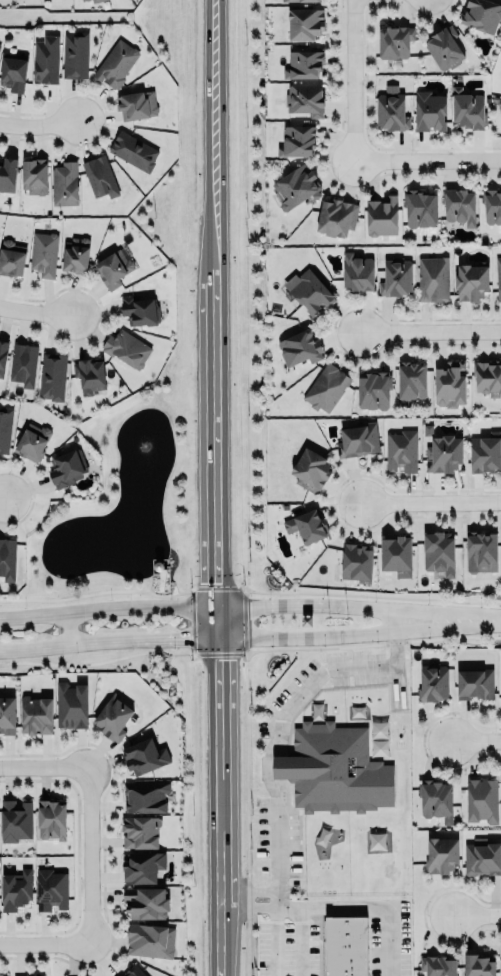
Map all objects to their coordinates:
building: (84, 0)
building: (94, 0)
building: (294, 0)
building: (482, 13)
building: (304, 23)
building: (394, 40)
building: (0, 44)
building: (444, 48)
building: (75, 54)
building: (45, 59)
building: (115, 63)
building: (303, 63)
building: (13, 71)
road: (350, 81)
building: (305, 99)
building: (135, 104)
building: (499, 104)
building: (467, 108)
building: (391, 110)
building: (429, 110)
road: (35, 126)
building: (297, 139)
building: (133, 150)
road: (426, 160)
building: (7, 174)
building: (34, 175)
building: (99, 176)
building: (64, 183)
building: (296, 186)
building: (459, 206)
building: (419, 207)
building: (492, 207)
building: (381, 215)
building: (336, 216)
building: (43, 254)
building: (75, 254)
building: (11, 258)
building: (113, 267)
building: (356, 271)
building: (498, 276)
building: (396, 277)
building: (432, 278)
building: (470, 280)
building: (311, 291)
road: (36, 310)
building: (139, 310)
road: (429, 330)
building: (299, 347)
building: (127, 349)
building: (2, 357)
building: (23, 364)
building: (88, 374)
building: (51, 375)
building: (487, 376)
building: (411, 379)
building: (449, 383)
building: (326, 386)
building: (373, 391)
building: (5, 427)
building: (357, 439)
building: (33, 441)
fountain: (145, 449)
building: (401, 451)
building: (485, 452)
building: (443, 453)
building: (67, 467)
building: (310, 469)
road: (215, 488)
road: (0, 498)
road: (430, 503)
building: (305, 526)
building: (480, 551)
building: (396, 552)
building: (438, 552)
building: (7, 558)
building: (355, 561)
road: (358, 607)
road: (107, 608)
road: (67, 628)
road: (359, 633)
road: (108, 641)
building: (433, 682)
building: (474, 684)
building: (71, 704)
building: (7, 715)
building: (36, 715)
building: (113, 717)
road: (474, 739)
building: (144, 756)
road: (265, 761)
building: (336, 768)
road: (43, 770)
building: (146, 796)
building: (482, 799)
building: (436, 800)
building: (51, 819)
building: (15, 820)
building: (141, 831)
building: (441, 854)
building: (481, 855)
road: (88, 856)
building: (142, 867)
building: (16, 888)
building: (51, 889)
building: (145, 902)
road: (342, 902)
road: (476, 913)
building: (150, 940)
road: (45, 942)
building: (340, 948)
building: (477, 965)
building: (437, 966)
building: (135, 971)
building: (35, 975)
building: (122, 975)

